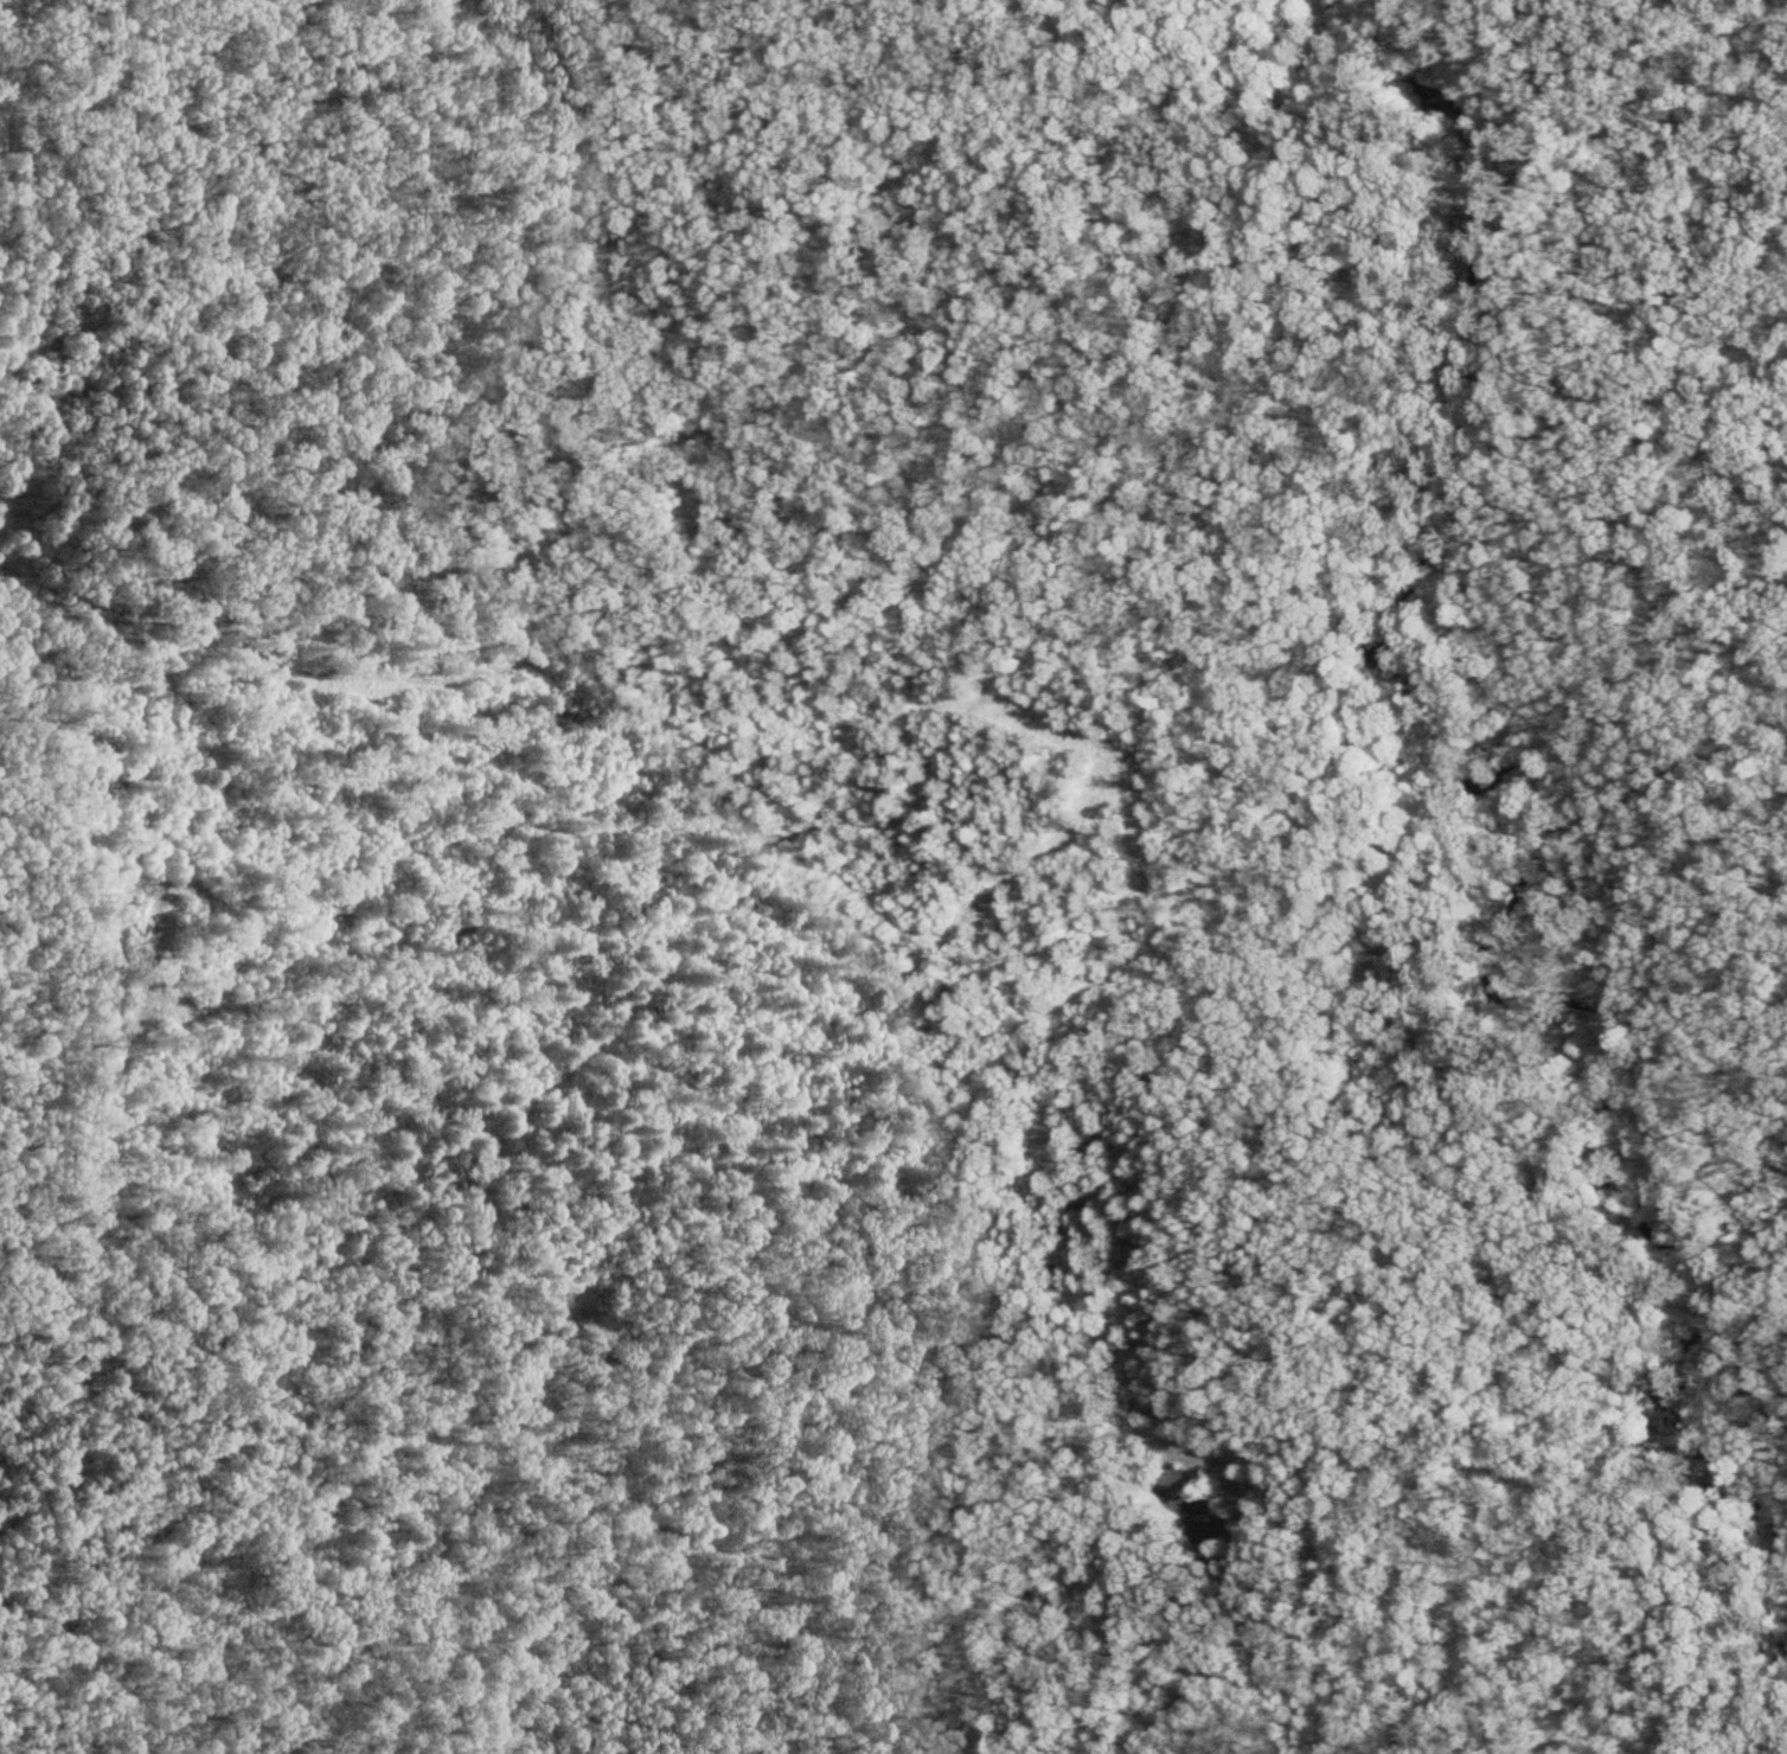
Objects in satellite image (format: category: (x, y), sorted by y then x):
road: (133, 833)
road: (1454, 1087)

